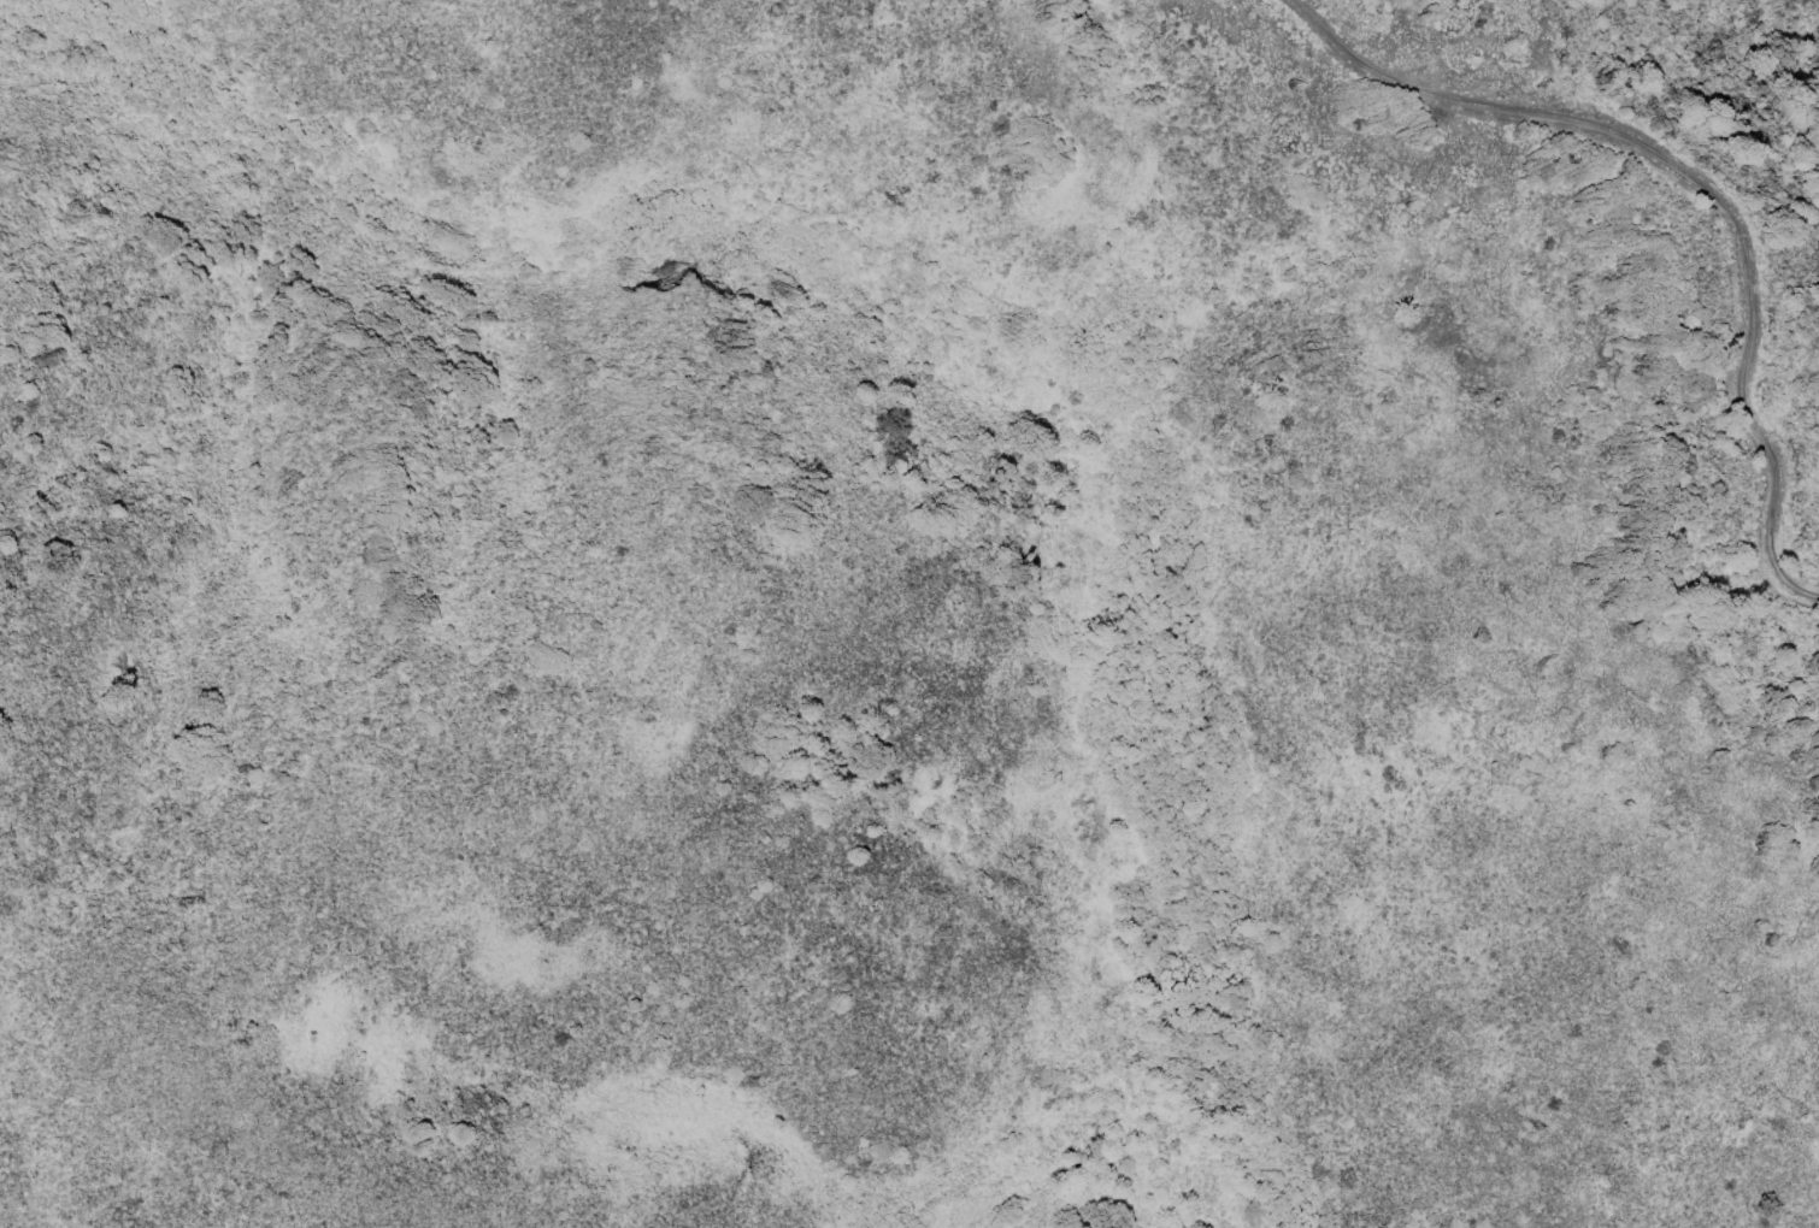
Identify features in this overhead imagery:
road: (1706, 185)

